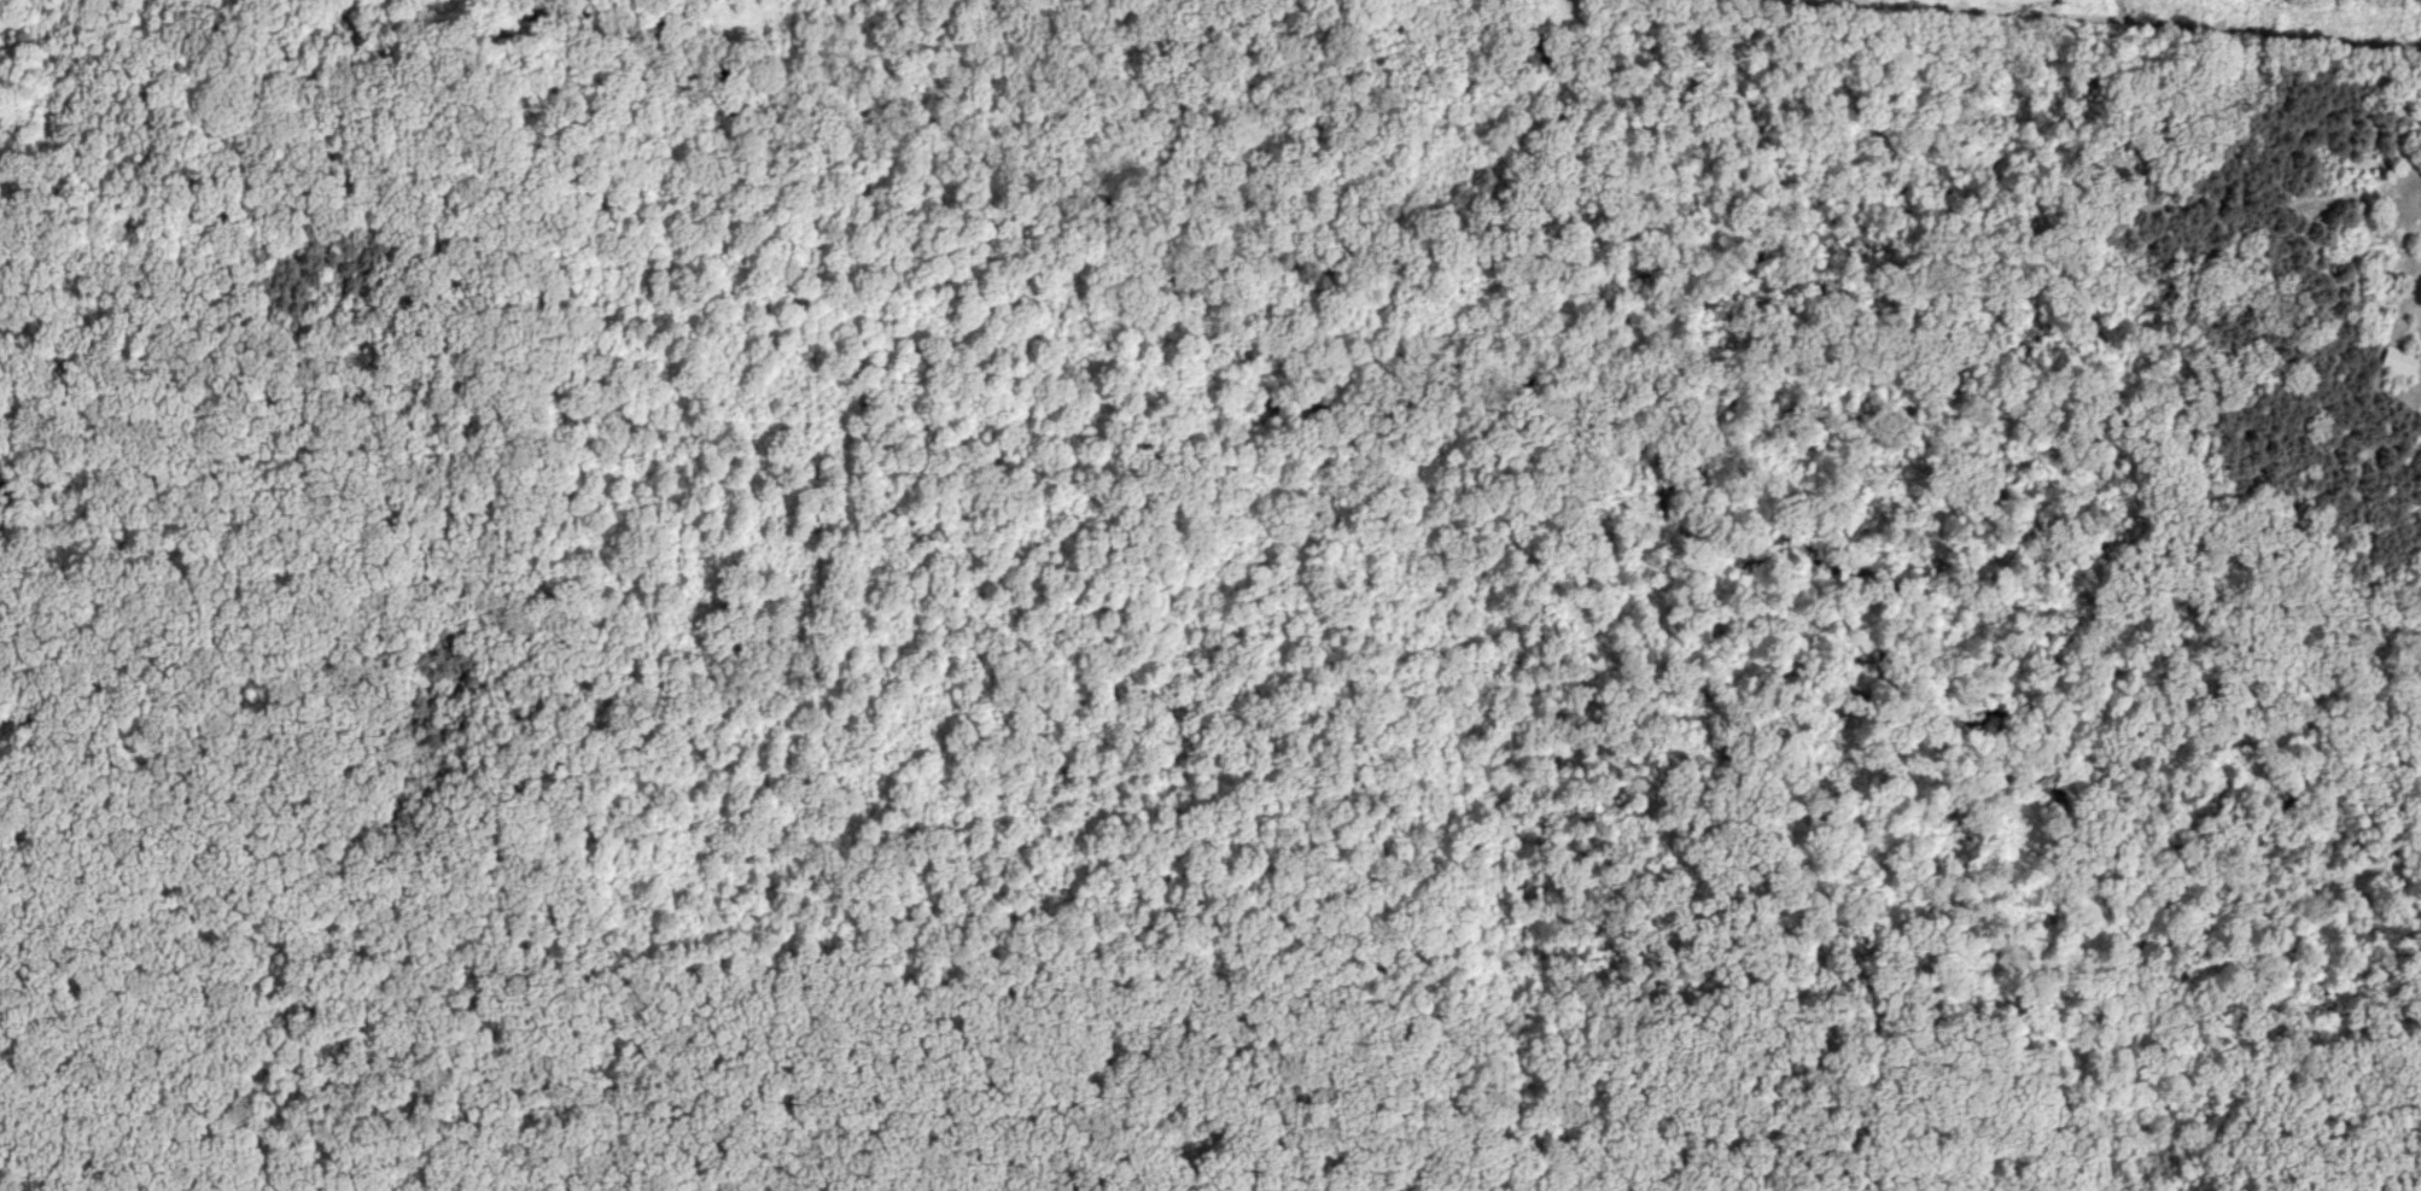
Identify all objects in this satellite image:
road: (2163, 14)
building: (2393, 362)

